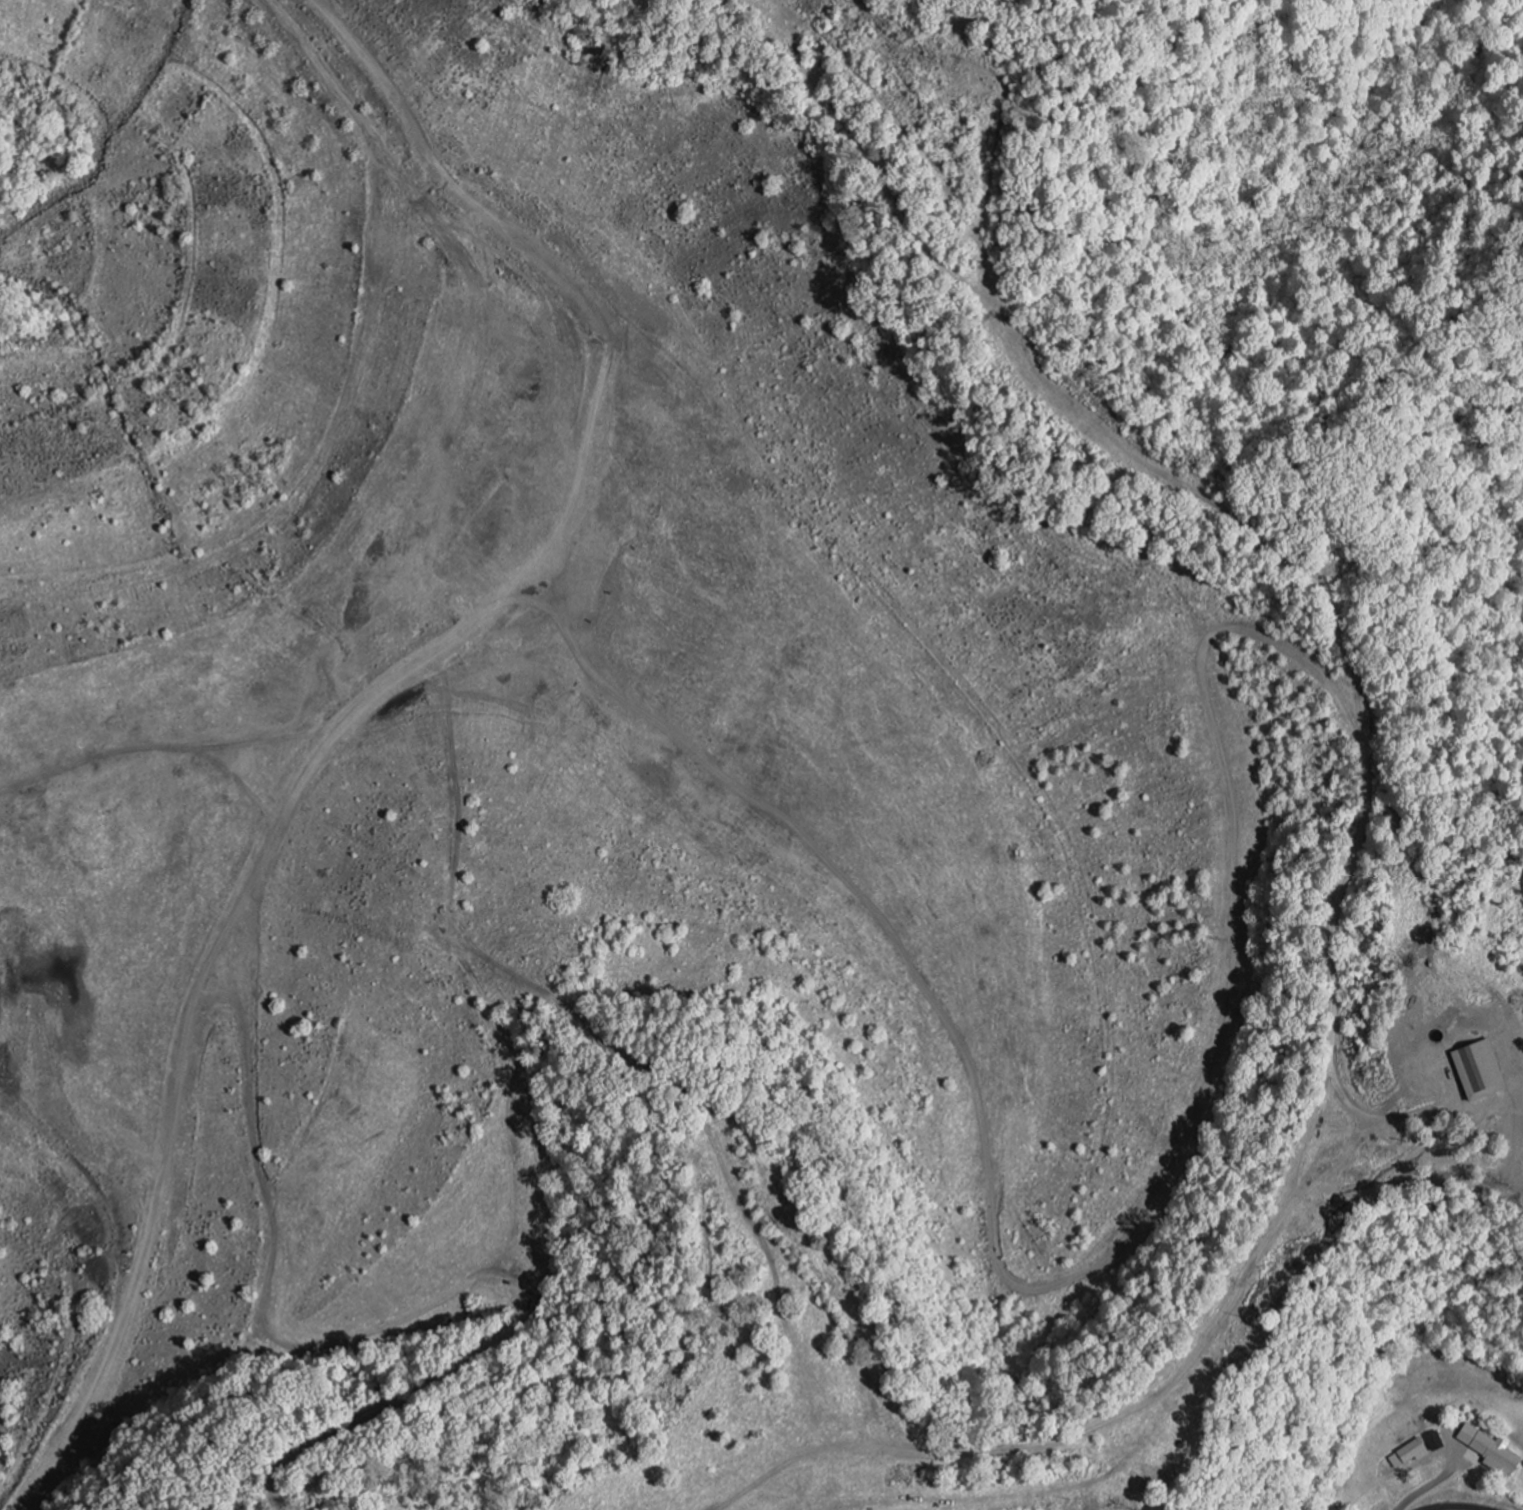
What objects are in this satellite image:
building: (1470, 1067)
building: (1432, 1442)
building: (1486, 1449)
building: (1406, 1455)
road: (1447, 1495)

